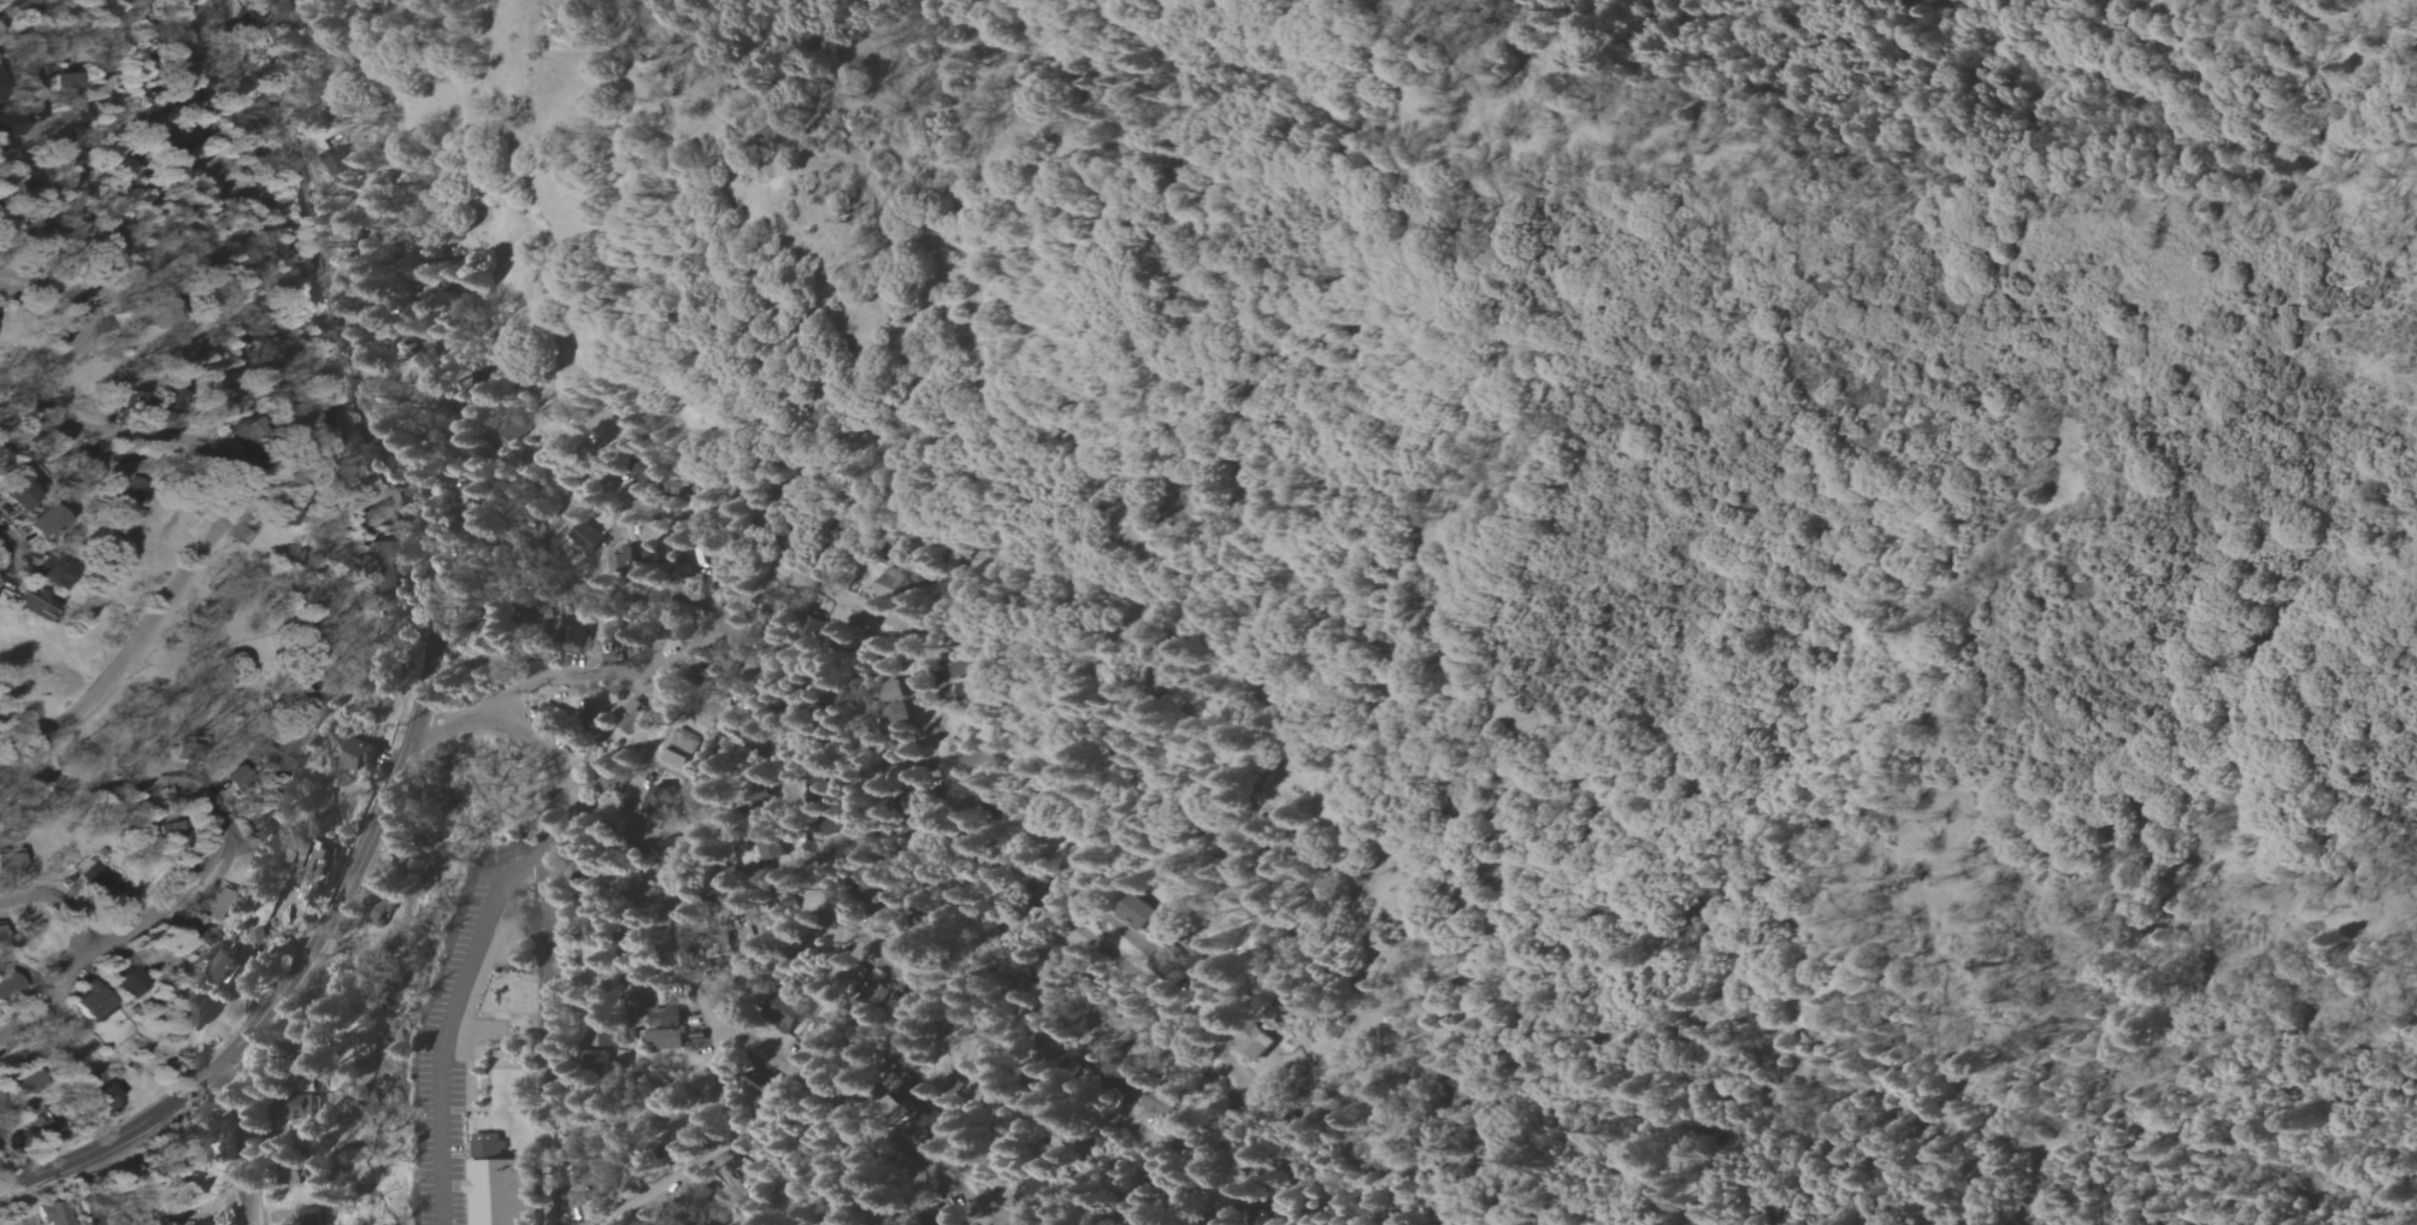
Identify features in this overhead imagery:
building: (277, 24)
road: (244, 75)
building: (8, 120)
building: (344, 160)
road: (206, 166)
building: (122, 172)
road: (20, 289)
building: (143, 317)
building: (609, 429)
building: (336, 430)
building: (247, 432)
building: (130, 488)
building: (377, 493)
building: (20, 497)
building: (46, 523)
building: (586, 536)
building: (645, 554)
building: (53, 570)
building: (383, 570)
building: (889, 583)
building: (780, 600)
building: (34, 602)
road: (718, 631)
road: (119, 666)
building: (966, 667)
building: (972, 691)
building: (630, 711)
road: (512, 718)
building: (553, 718)
road: (415, 744)
building: (282, 749)
building: (358, 755)
building: (236, 777)
building: (655, 797)
building: (169, 831)
building: (11, 862)
building: (101, 885)
road: (668, 897)
building: (216, 907)
road: (59, 908)
building: (1139, 912)
building: (257, 937)
building: (224, 966)
building: (128, 979)
road: (1171, 984)
building: (7, 987)
building: (95, 1006)
road: (554, 1006)
building: (666, 1017)
road: (447, 1020)
building: (664, 1040)
building: (1254, 1047)
building: (599, 1060)
building: (30, 1080)
building: (991, 1086)
road: (831, 1095)
building: (37, 1121)
road: (242, 1144)
building: (488, 1147)
road: (711, 1155)
road: (117, 1183)
building: (499, 1192)
road: (909, 1199)
road: (975, 1199)
building: (60, 1213)
road: (1947, 1213)
building: (311, 1215)

